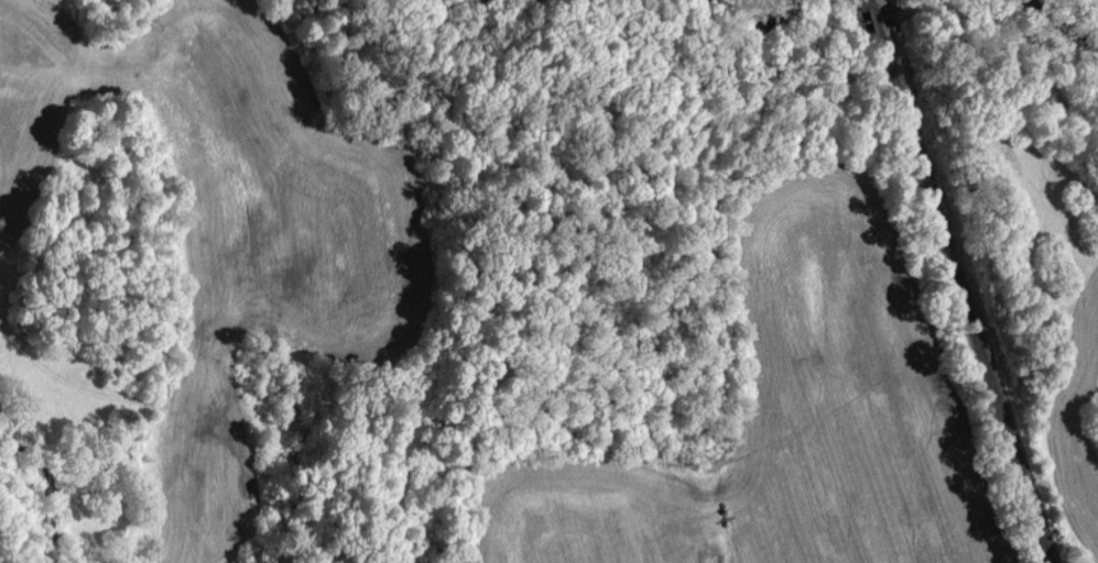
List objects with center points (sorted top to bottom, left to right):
railway: (933, 280)

